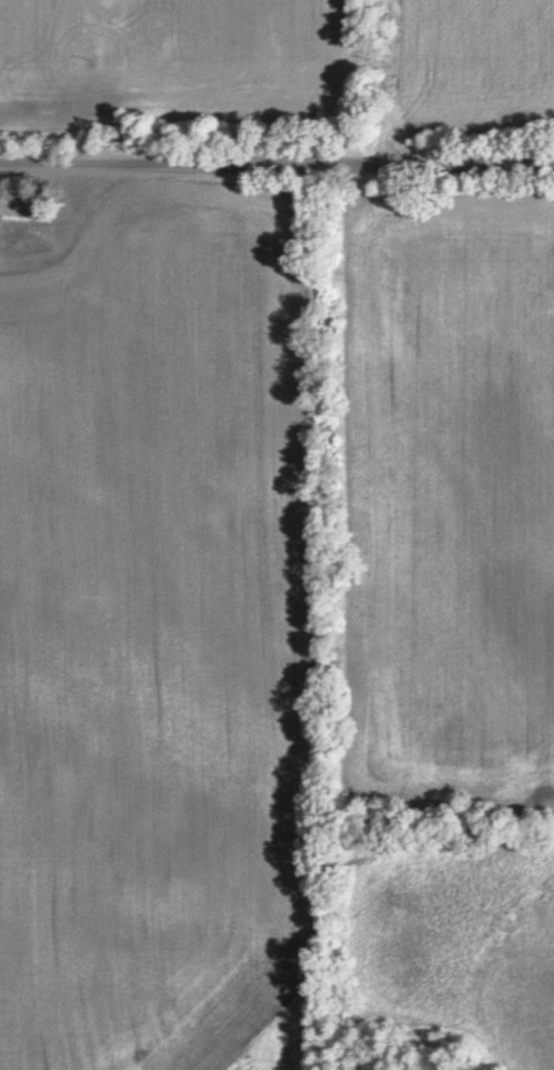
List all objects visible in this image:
road: (276, 160)

